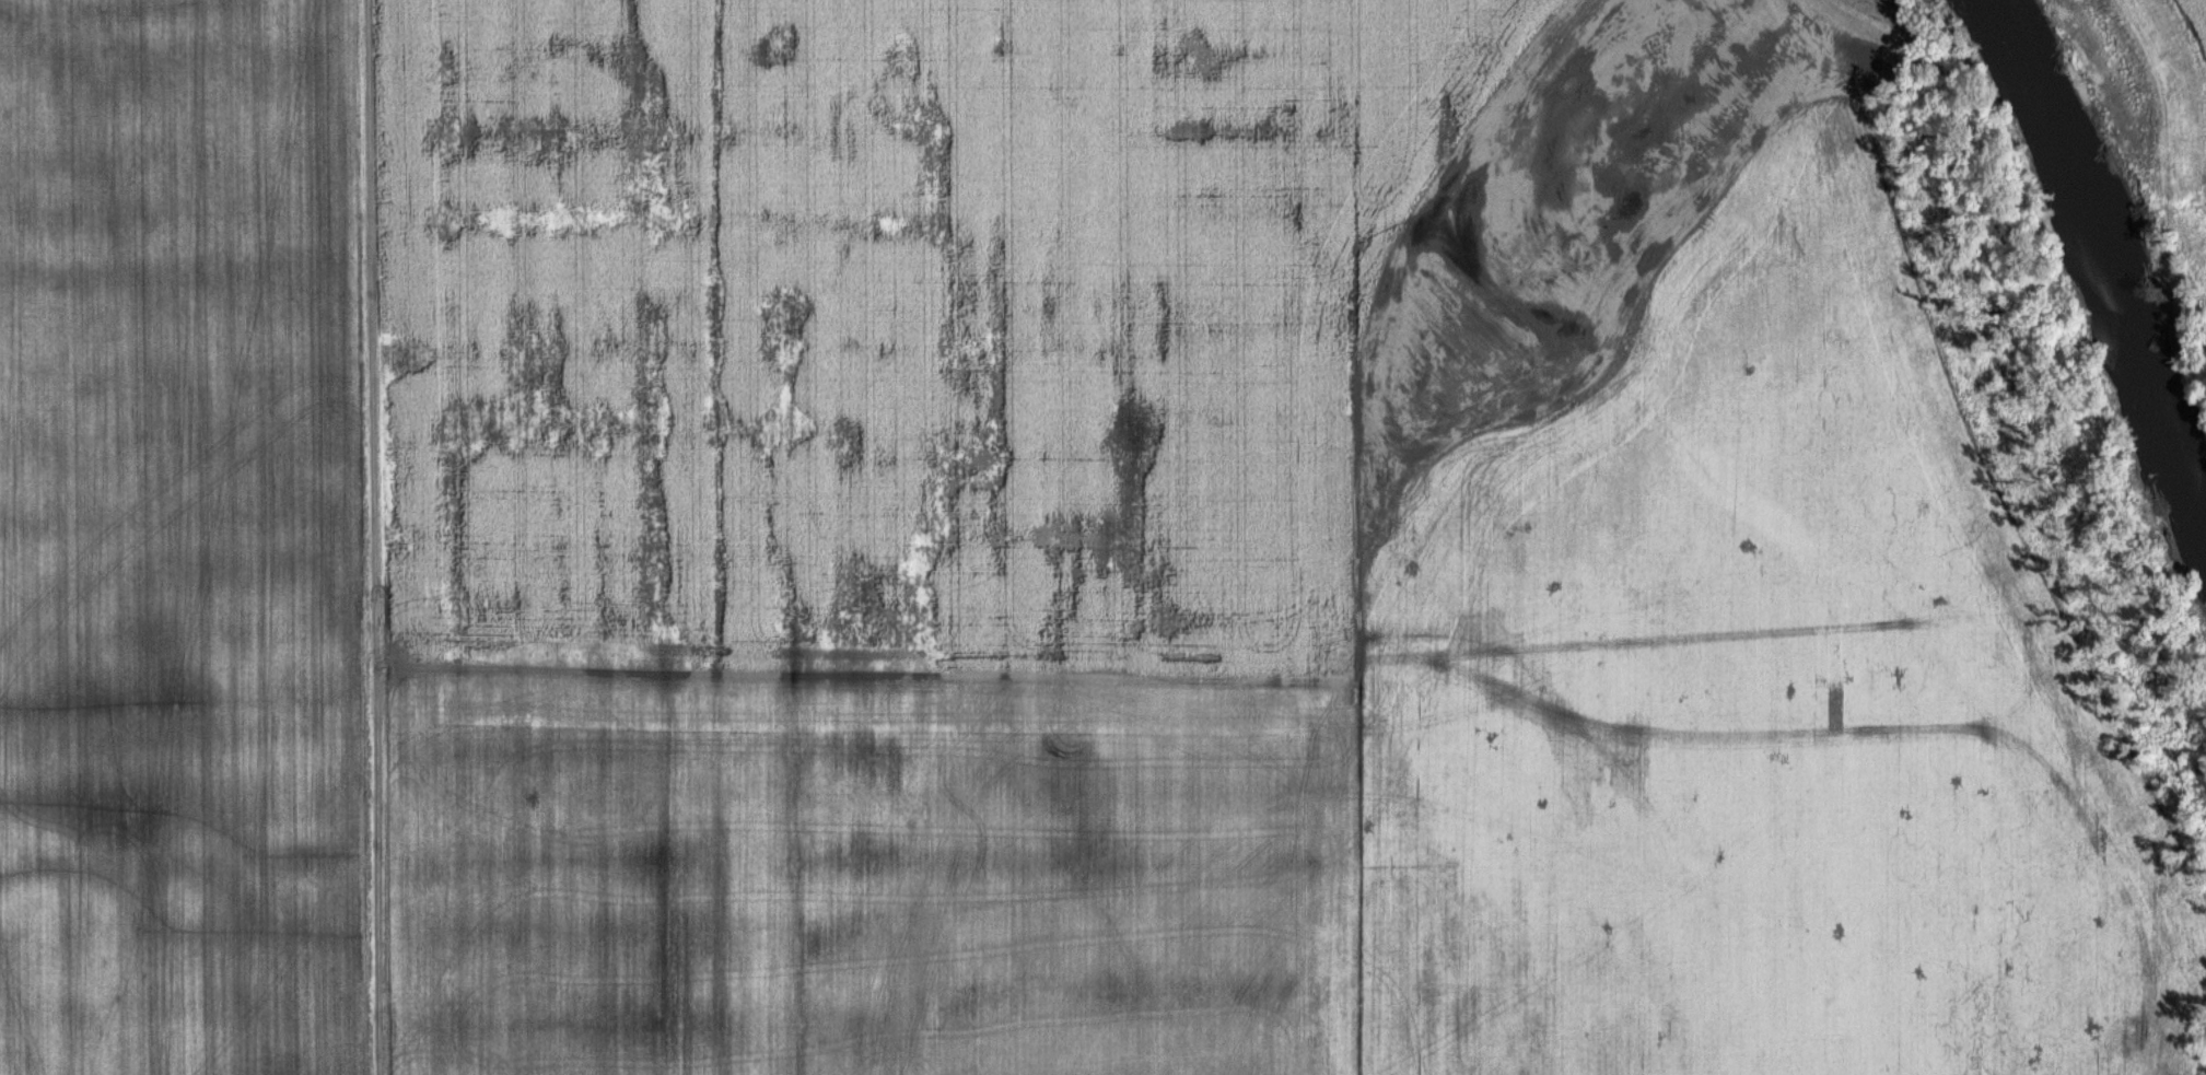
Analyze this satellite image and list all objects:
river: (2096, 245)

